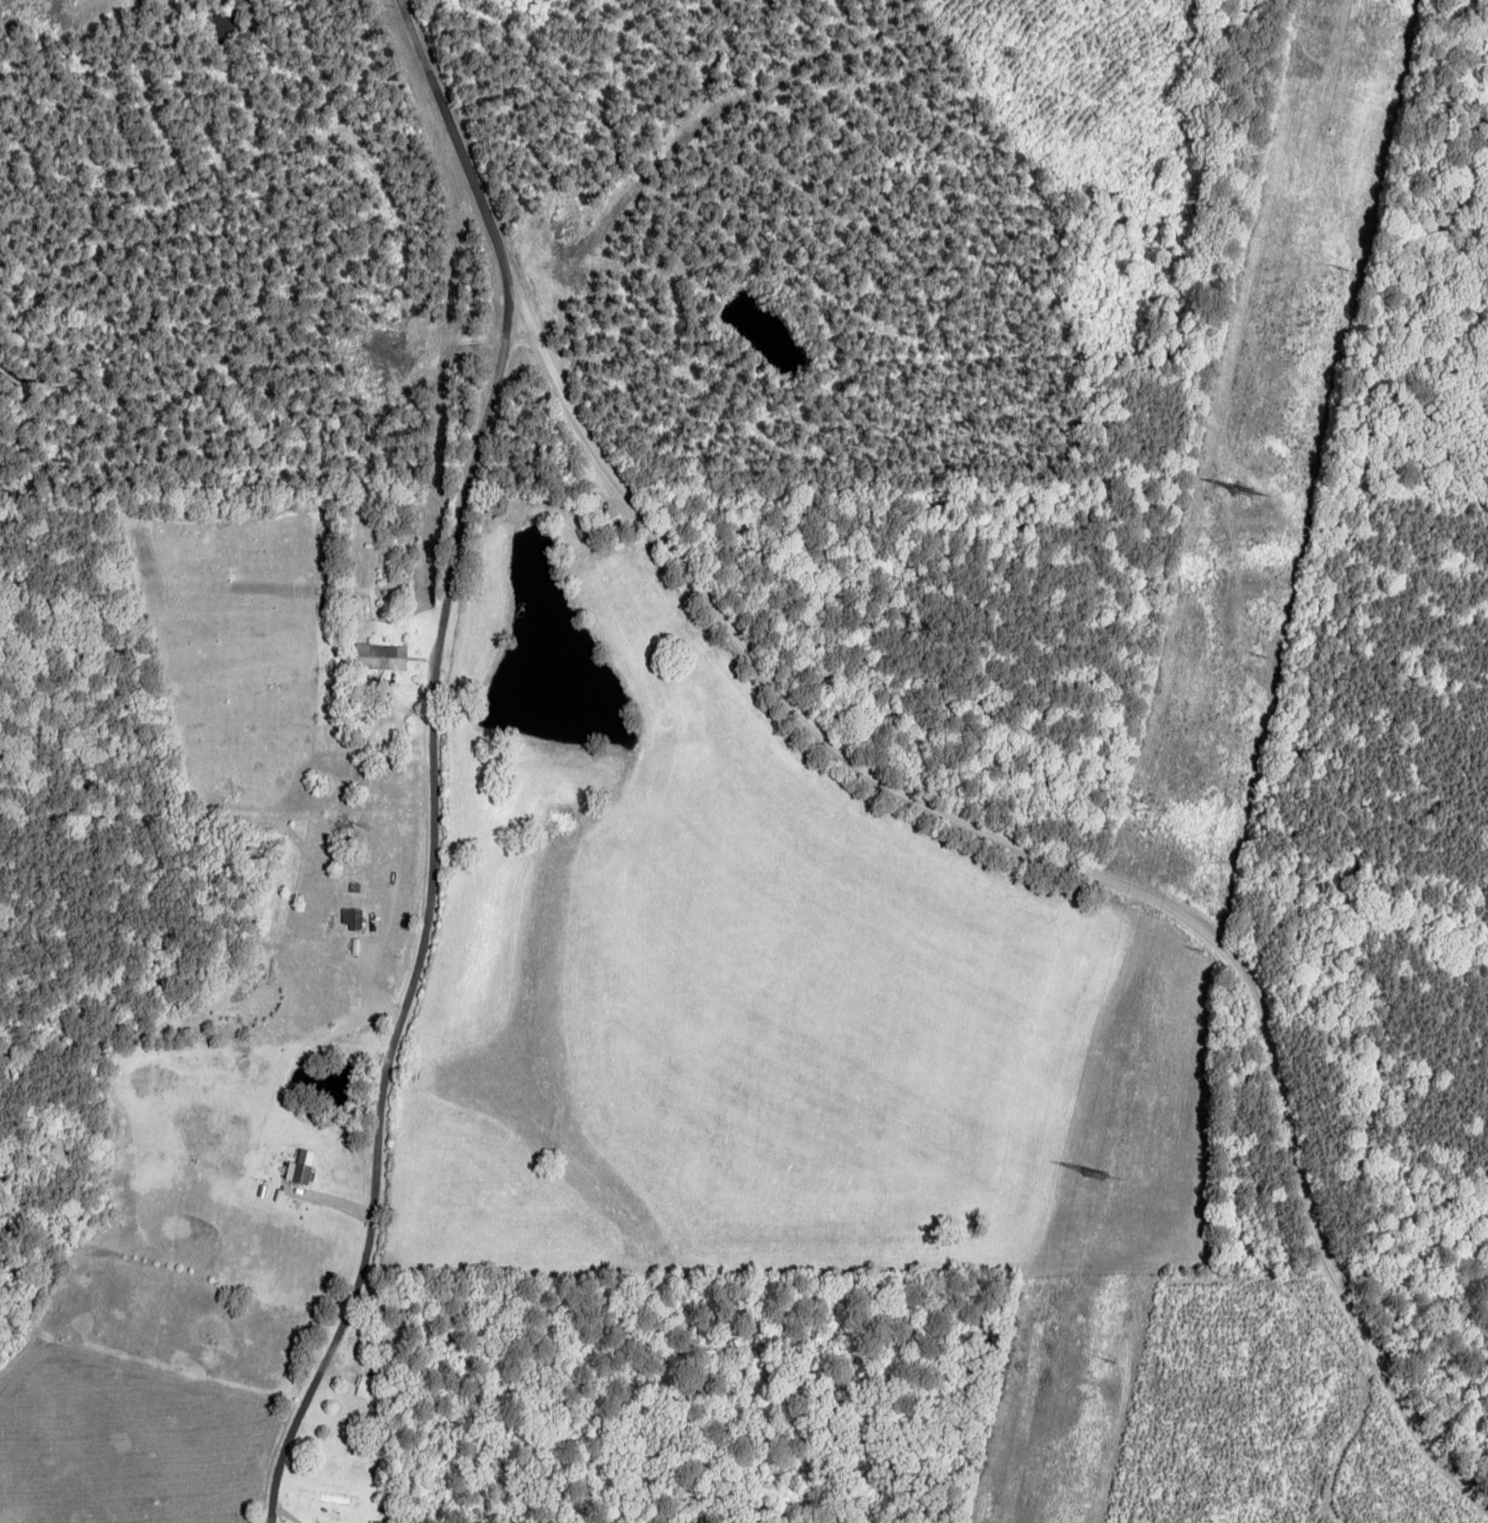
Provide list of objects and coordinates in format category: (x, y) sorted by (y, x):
power tower: (1233, 499)
building: (380, 657)
road: (458, 760)
road: (1091, 855)
building: (353, 918)
building: (300, 1166)
power tower: (1089, 1178)
building: (364, 1385)

